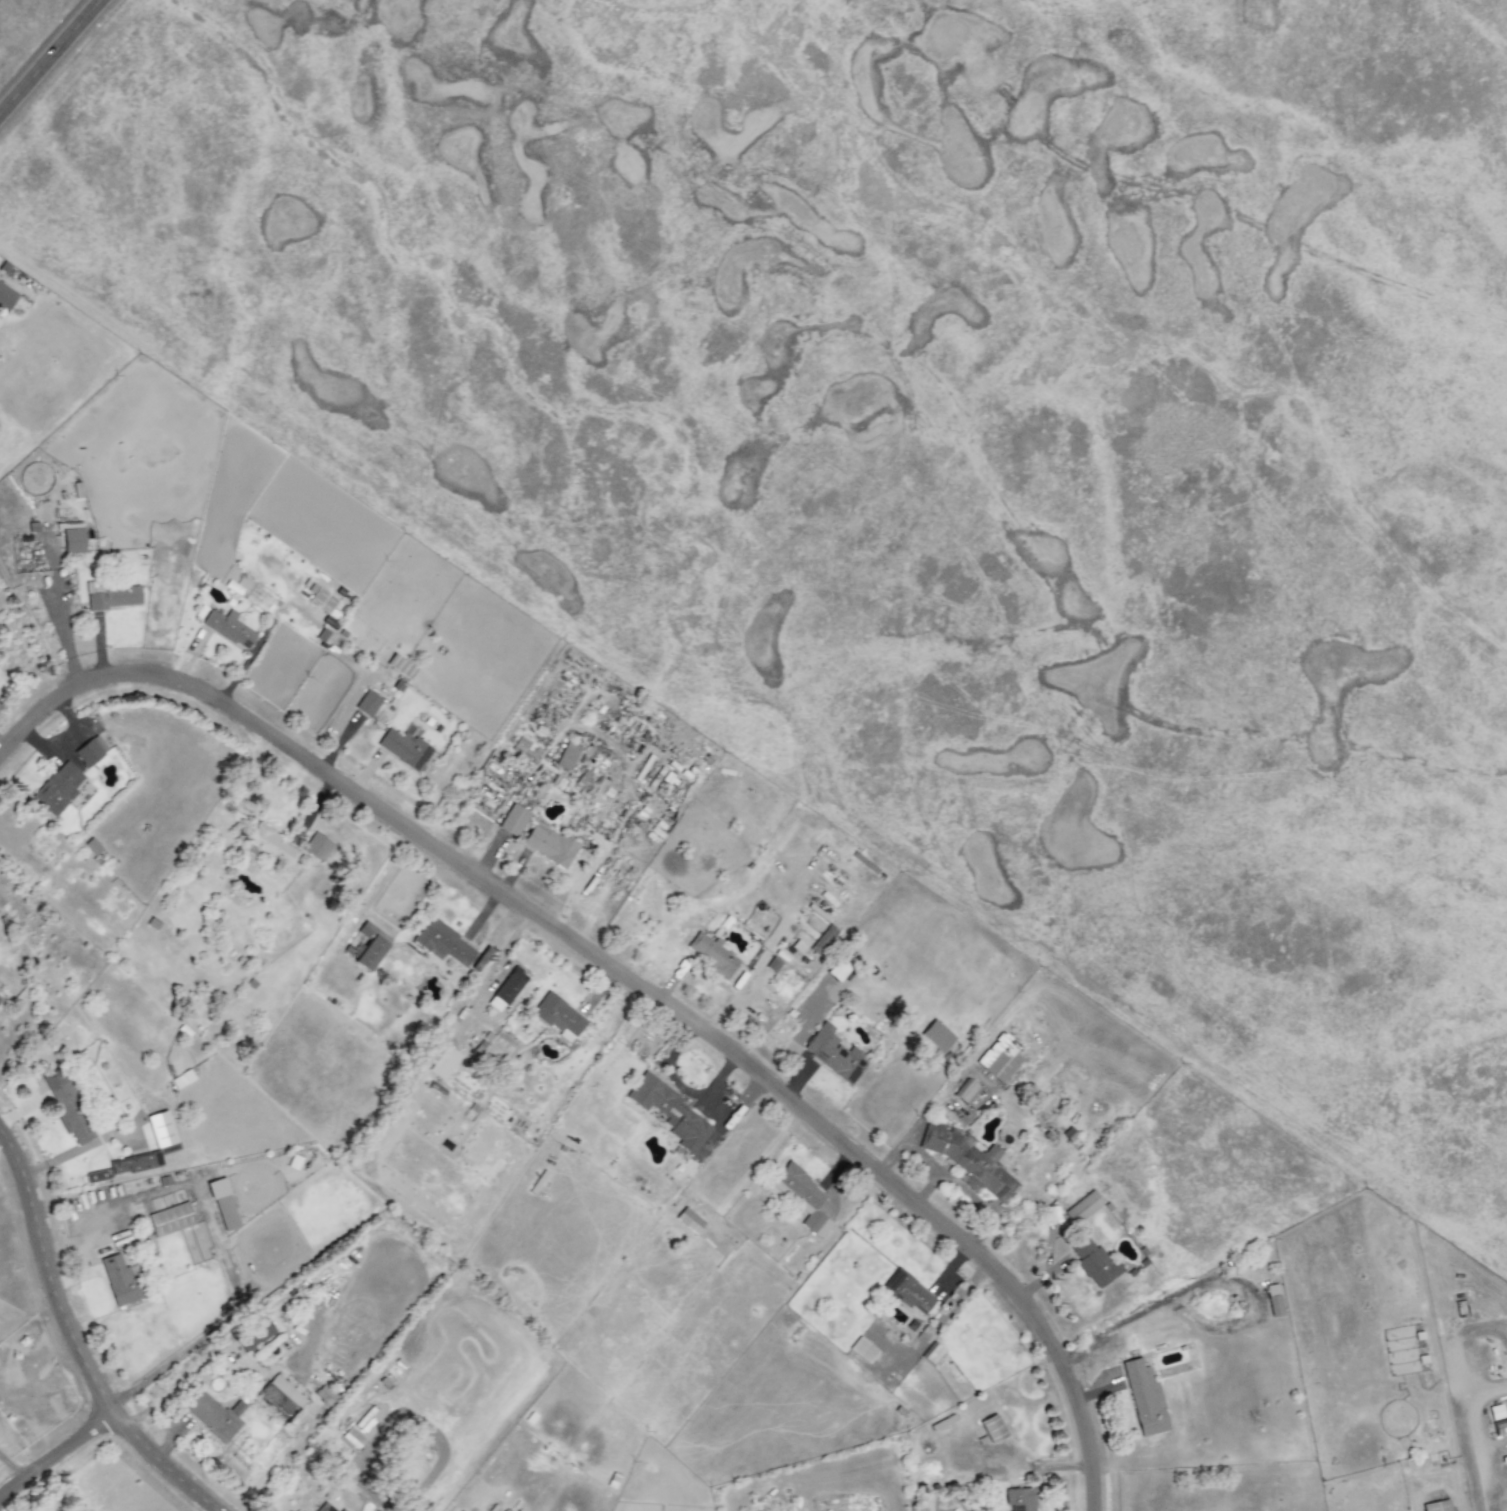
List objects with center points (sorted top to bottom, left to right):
road: (50, 57)
crop: (381, 252)
building: (6, 298)
building: (73, 541)
building: (113, 598)
building: (322, 601)
building: (228, 628)
building: (400, 666)
building: (367, 704)
building: (404, 749)
building: (90, 751)
building: (567, 757)
building: (57, 789)
building: (513, 821)
building: (549, 845)
building: (272, 846)
building: (92, 847)
building: (317, 847)
building: (823, 940)
building: (443, 943)
building: (370, 946)
building: (712, 955)
building: (839, 967)
road: (622, 977)
building: (509, 986)
building: (0, 998)
building: (558, 1016)
building: (937, 1036)
building: (492, 1048)
building: (834, 1054)
building: (999, 1058)
building: (182, 1079)
building: (965, 1092)
building: (67, 1106)
building: (671, 1114)
building: (161, 1132)
building: (969, 1160)
building: (802, 1198)
building: (223, 1204)
building: (1083, 1208)
building: (170, 1220)
building: (689, 1220)
building: (1094, 1263)
road: (230, 1272)
building: (119, 1281)
building: (906, 1292)
building: (1273, 1301)
road: (75, 1334)
building: (254, 1336)
building: (862, 1350)
building: (932, 1354)
building: (280, 1398)
building: (1144, 1399)
building: (1495, 1412)
building: (214, 1416)
building: (1499, 1427)
building: (992, 1429)
building: (353, 1438)
road: (59, 1462)
road: (17, 1468)
building: (1019, 1499)
building: (1437, 1506)
building: (324, 1507)

